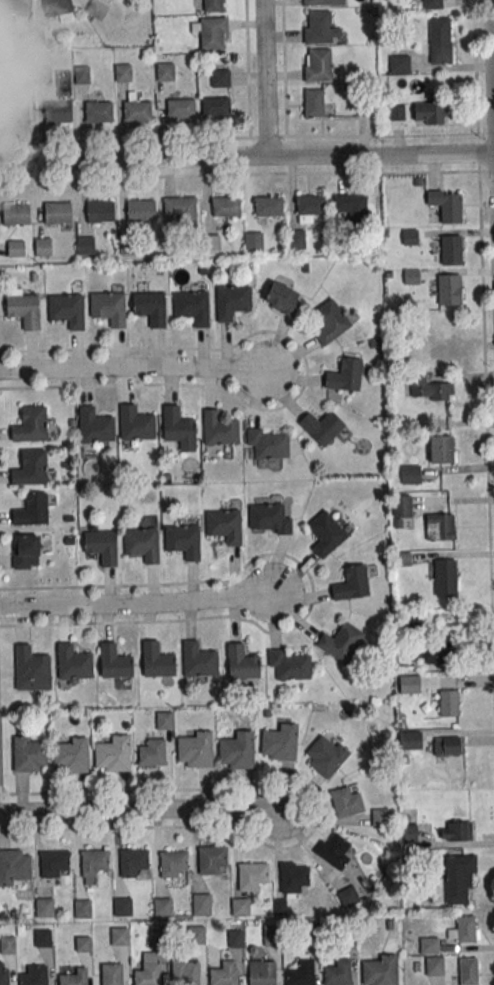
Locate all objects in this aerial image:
building: (110, 0)
building: (323, 2)
building: (432, 4)
building: (213, 5)
building: (14, 6)
building: (59, 9)
building: (96, 9)
building: (320, 27)
building: (211, 32)
building: (7, 37)
building: (440, 40)
building: (8, 63)
building: (399, 64)
building: (319, 66)
building: (165, 71)
building: (123, 72)
building: (43, 74)
building: (82, 74)
building: (220, 78)
road: (491, 78)
road: (263, 80)
building: (314, 103)
building: (215, 107)
building: (180, 108)
building: (14, 109)
building: (136, 109)
building: (98, 111)
building: (58, 112)
building: (430, 113)
road: (246, 161)
building: (268, 205)
building: (447, 205)
building: (226, 206)
building: (352, 206)
building: (309, 207)
building: (181, 209)
building: (138, 210)
building: (100, 211)
building: (57, 212)
building: (16, 213)
building: (296, 238)
building: (253, 241)
building: (212, 242)
building: (85, 245)
building: (43, 246)
building: (16, 249)
building: (451, 249)
building: (449, 289)
building: (282, 299)
building: (232, 301)
building: (150, 307)
building: (192, 307)
building: (23, 308)
building: (109, 308)
building: (68, 309)
building: (330, 321)
building: (435, 335)
road: (144, 366)
building: (344, 375)
building: (432, 388)
building: (136, 423)
building: (30, 424)
building: (95, 426)
building: (321, 426)
building: (178, 428)
building: (219, 429)
building: (269, 443)
building: (441, 449)
building: (31, 468)
building: (410, 474)
building: (401, 507)
building: (31, 510)
building: (269, 518)
building: (225, 525)
building: (437, 526)
building: (325, 533)
building: (183, 541)
building: (142, 545)
building: (101, 546)
building: (25, 551)
building: (445, 577)
building: (351, 583)
road: (146, 603)
building: (341, 642)
building: (437, 655)
building: (156, 660)
building: (198, 660)
building: (114, 661)
building: (73, 662)
building: (241, 662)
building: (290, 664)
building: (31, 668)
building: (409, 684)
building: (448, 702)
building: (410, 739)
building: (280, 742)
building: (448, 748)
building: (194, 749)
building: (237, 750)
building: (151, 752)
building: (113, 753)
building: (30, 754)
building: (71, 755)
building: (325, 755)
building: (346, 801)
road: (150, 807)
building: (381, 817)
building: (456, 831)
building: (335, 850)
building: (212, 860)
building: (93, 862)
building: (134, 863)
building: (173, 863)
building: (54, 864)
building: (15, 867)
building: (252, 875)
building: (294, 877)
building: (458, 877)
building: (348, 896)
building: (201, 904)
building: (122, 906)
building: (162, 906)
building: (240, 906)
building: (279, 906)
building: (44, 907)
building: (82, 908)
building: (463, 929)
building: (196, 934)
building: (270, 934)
building: (120, 935)
building: (158, 937)
building: (43, 938)
building: (235, 938)
building: (7, 944)
building: (429, 945)
building: (434, 965)
building: (149, 970)
building: (379, 970)
building: (186, 972)
building: (261, 972)
building: (301, 972)
building: (337, 972)
building: (4, 973)
building: (111, 973)
building: (225, 973)
building: (33, 974)
building: (73, 976)

